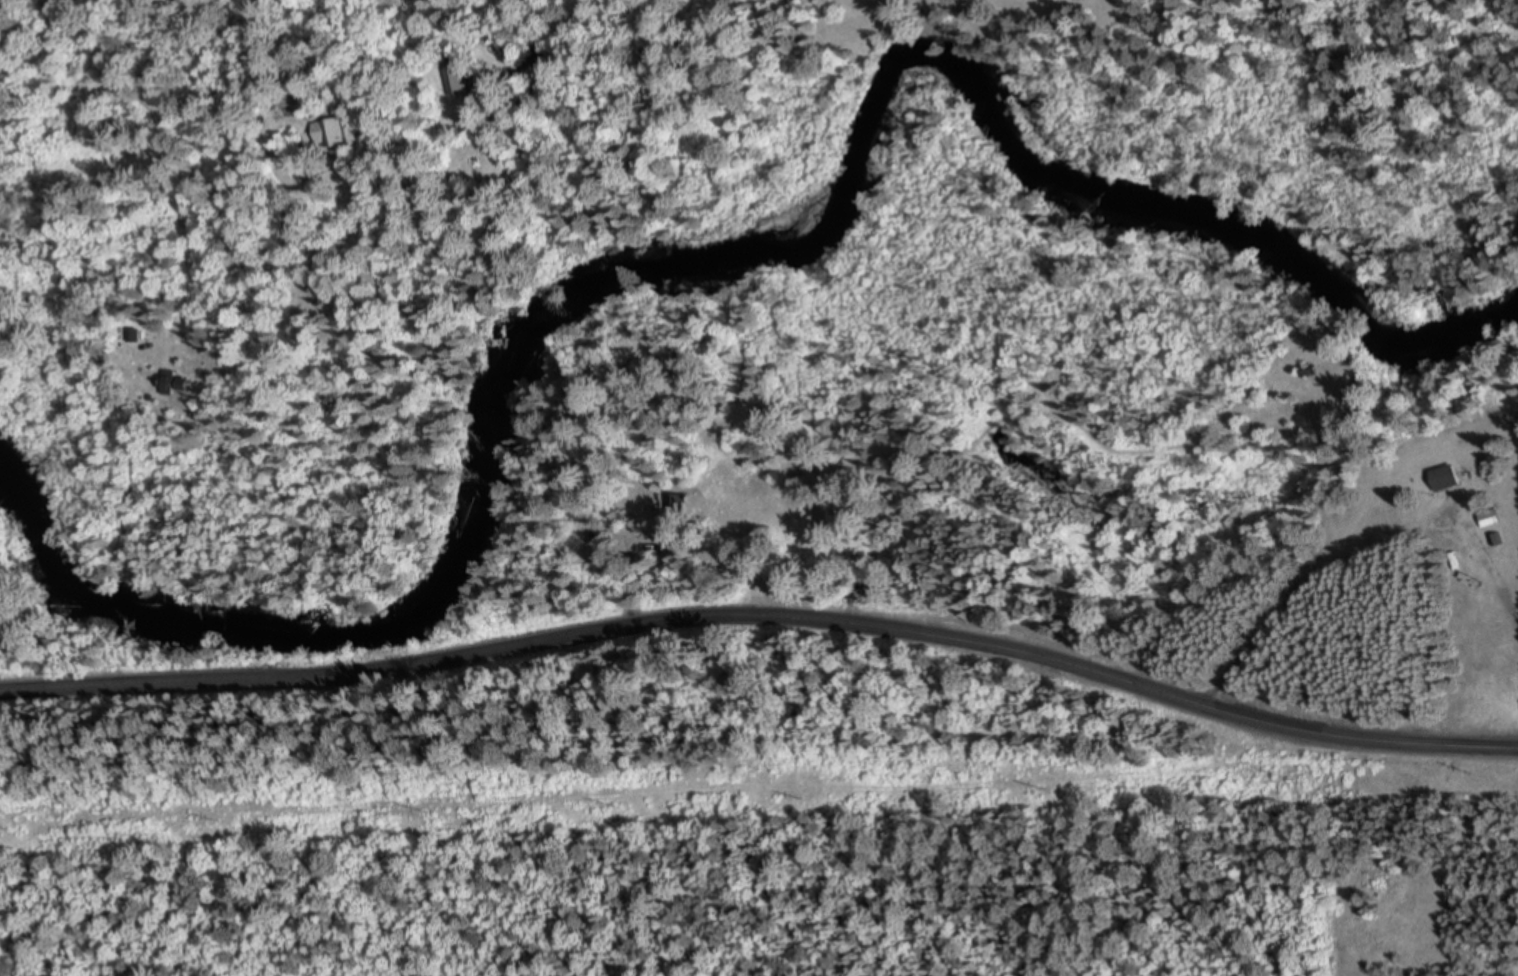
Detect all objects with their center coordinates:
river: (715, 260)
building: (1444, 483)
road: (764, 617)

